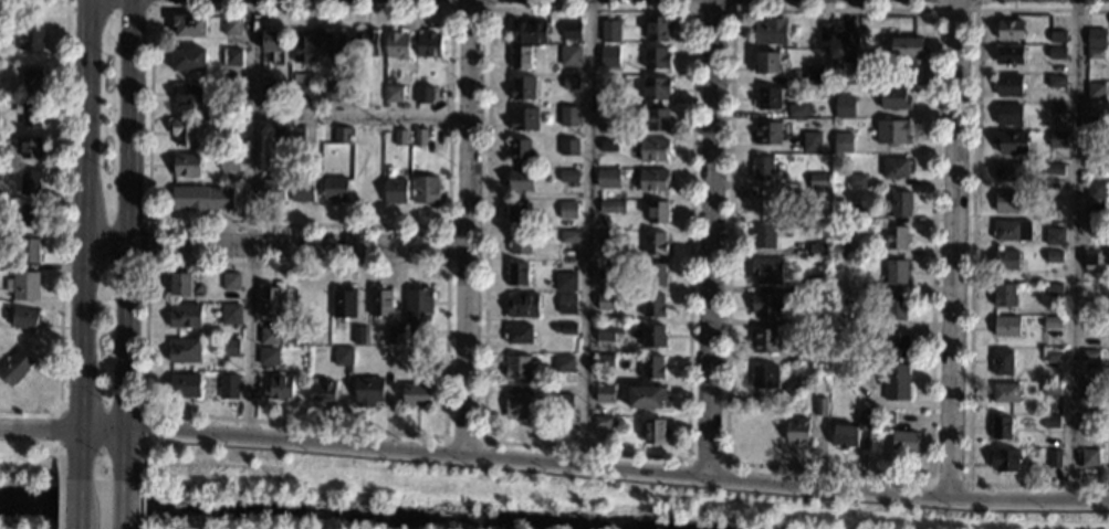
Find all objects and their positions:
road: (112, 9)
road: (470, 9)
road: (711, 9)
road: (955, 11)
road: (692, 20)
building: (188, 27)
building: (232, 27)
building: (657, 28)
building: (1008, 30)
building: (529, 31)
building: (571, 31)
building: (770, 31)
building: (609, 32)
building: (825, 33)
building: (1058, 38)
building: (1096, 39)
building: (32, 41)
building: (850, 43)
building: (366, 45)
building: (274, 46)
building: (397, 46)
building: (429, 46)
building: (335, 47)
building: (304, 49)
building: (906, 49)
building: (1056, 53)
building: (1008, 55)
building: (1095, 55)
building: (569, 56)
building: (520, 57)
building: (608, 57)
building: (232, 59)
building: (656, 59)
building: (188, 61)
building: (766, 63)
building: (815, 76)
building: (1056, 82)
building: (33, 83)
building: (571, 83)
building: (1007, 86)
building: (300, 88)
building: (522, 89)
building: (656, 89)
building: (1095, 93)
building: (333, 94)
building: (360, 94)
building: (188, 95)
building: (233, 95)
building: (393, 95)
building: (422, 95)
building: (270, 99)
building: (767, 99)
building: (894, 99)
building: (844, 107)
building: (1056, 109)
building: (797, 112)
building: (1008, 115)
building: (30, 116)
road: (360, 117)
building: (569, 117)
building: (609, 117)
building: (524, 119)
building: (656, 119)
building: (1097, 123)
building: (233, 129)
building: (184, 131)
building: (767, 133)
building: (892, 133)
building: (282, 136)
building: (341, 136)
building: (299, 137)
building: (400, 139)
building: (420, 139)
building: (1057, 140)
building: (812, 142)
building: (843, 142)
building: (1011, 142)
building: (608, 147)
building: (569, 148)
building: (32, 150)
building: (652, 150)
building: (521, 152)
building: (229, 163)
building: (186, 166)
building: (762, 169)
building: (896, 169)
building: (1007, 172)
building: (1053, 173)
building: (568, 177)
building: (0, 178)
building: (607, 179)
building: (818, 180)
building: (857, 180)
building: (521, 181)
building: (652, 182)
building: (32, 184)
building: (302, 190)
building: (334, 190)
building: (395, 191)
building: (425, 191)
building: (1096, 191)
building: (273, 192)
building: (200, 199)
building: (1007, 202)
building: (768, 204)
building: (900, 204)
building: (611, 208)
building: (568, 211)
building: (517, 213)
building: (657, 213)
building: (856, 213)
building: (1054, 214)
building: (31, 218)
building: (815, 218)
road: (253, 220)
building: (1095, 222)
road: (122, 224)
road: (448, 225)
road: (465, 226)
building: (1011, 232)
road: (61, 233)
road: (587, 233)
building: (568, 237)
building: (605, 237)
building: (1054, 237)
building: (896, 239)
road: (85, 240)
road: (132, 240)
road: (714, 240)
building: (763, 240)
road: (275, 242)
building: (520, 243)
building: (653, 243)
road: (447, 246)
road: (955, 248)
building: (817, 250)
road: (1074, 250)
building: (843, 251)
road: (971, 251)
building: (28, 252)
building: (1054, 257)
building: (1092, 260)
building: (1006, 261)
building: (604, 269)
building: (766, 272)
building: (896, 273)
building: (516, 274)
building: (653, 275)
building: (565, 282)
building: (231, 283)
building: (181, 285)
building: (816, 285)
building: (852, 285)
building: (25, 288)
building: (1054, 289)
building: (1091, 294)
building: (1004, 296)
building: (270, 301)
building: (380, 303)
building: (605, 303)
building: (344, 304)
building: (566, 304)
building: (523, 305)
building: (653, 306)
building: (765, 306)
building: (896, 307)
building: (1089, 310)
building: (418, 314)
building: (185, 316)
building: (231, 316)
building: (815, 319)
building: (25, 320)
building: (867, 321)
building: (1053, 322)
building: (1005, 326)
building: (565, 329)
building: (608, 332)
building: (519, 335)
building: (358, 336)
building: (270, 337)
building: (395, 337)
building: (850, 337)
building: (653, 338)
building: (765, 341)
building: (899, 346)
building: (230, 349)
building: (185, 351)
building: (807, 355)
building: (269, 356)
building: (390, 356)
building: (1053, 356)
building: (1090, 356)
building: (343, 357)
building: (604, 361)
building: (1002, 363)
building: (564, 364)
building: (517, 368)
building: (651, 368)
building: (17, 370)
building: (422, 371)
building: (764, 377)
building: (851, 378)
building: (896, 382)
building: (185, 387)
building: (229, 388)
building: (278, 388)
building: (794, 388)
building: (1052, 390)
building: (322, 392)
building: (368, 392)
building: (1091, 392)
building: (1004, 393)
building: (605, 394)
building: (416, 395)
building: (646, 396)
building: (563, 401)
building: (519, 406)
building: (820, 406)
road: (155, 412)
building: (886, 419)
building: (862, 421)
building: (603, 422)
building: (1052, 422)
building: (1090, 425)
road: (38, 427)
road: (91, 429)
building: (1001, 429)
road: (115, 431)
building: (655, 432)
building: (797, 433)
road: (463, 437)
building: (845, 438)
road: (137, 440)
building: (903, 441)
road: (142, 458)
building: (1089, 458)
road: (707, 461)
building: (1005, 461)
building: (1055, 461)
road: (59, 462)
road: (617, 470)
road: (929, 472)
road: (948, 482)
park: (32, 484)
road: (75, 493)
park: (501, 497)
road: (60, 502)
road: (124, 504)
road: (139, 504)
road: (74, 515)
river: (325, 516)
road: (73, 527)
road: (59, 528)
road: (124, 528)

